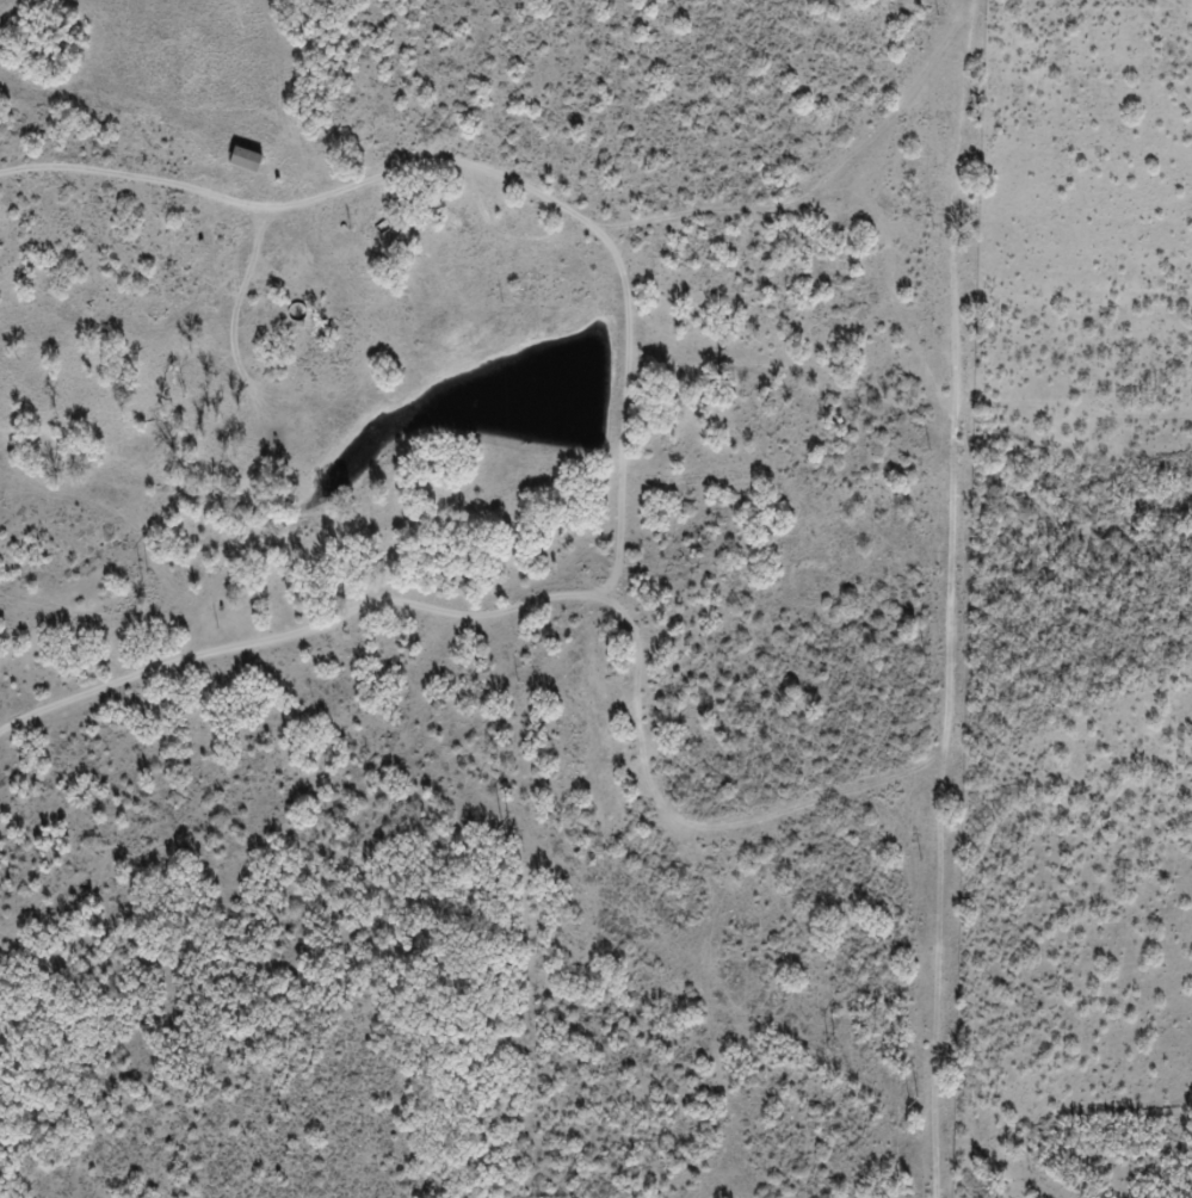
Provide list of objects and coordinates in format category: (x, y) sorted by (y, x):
building: (246, 160)
road: (675, 243)
power tower: (144, 578)
road: (961, 600)
road: (535, 636)
power tower: (501, 817)
power tower: (830, 1044)
power tower: (912, 1099)

